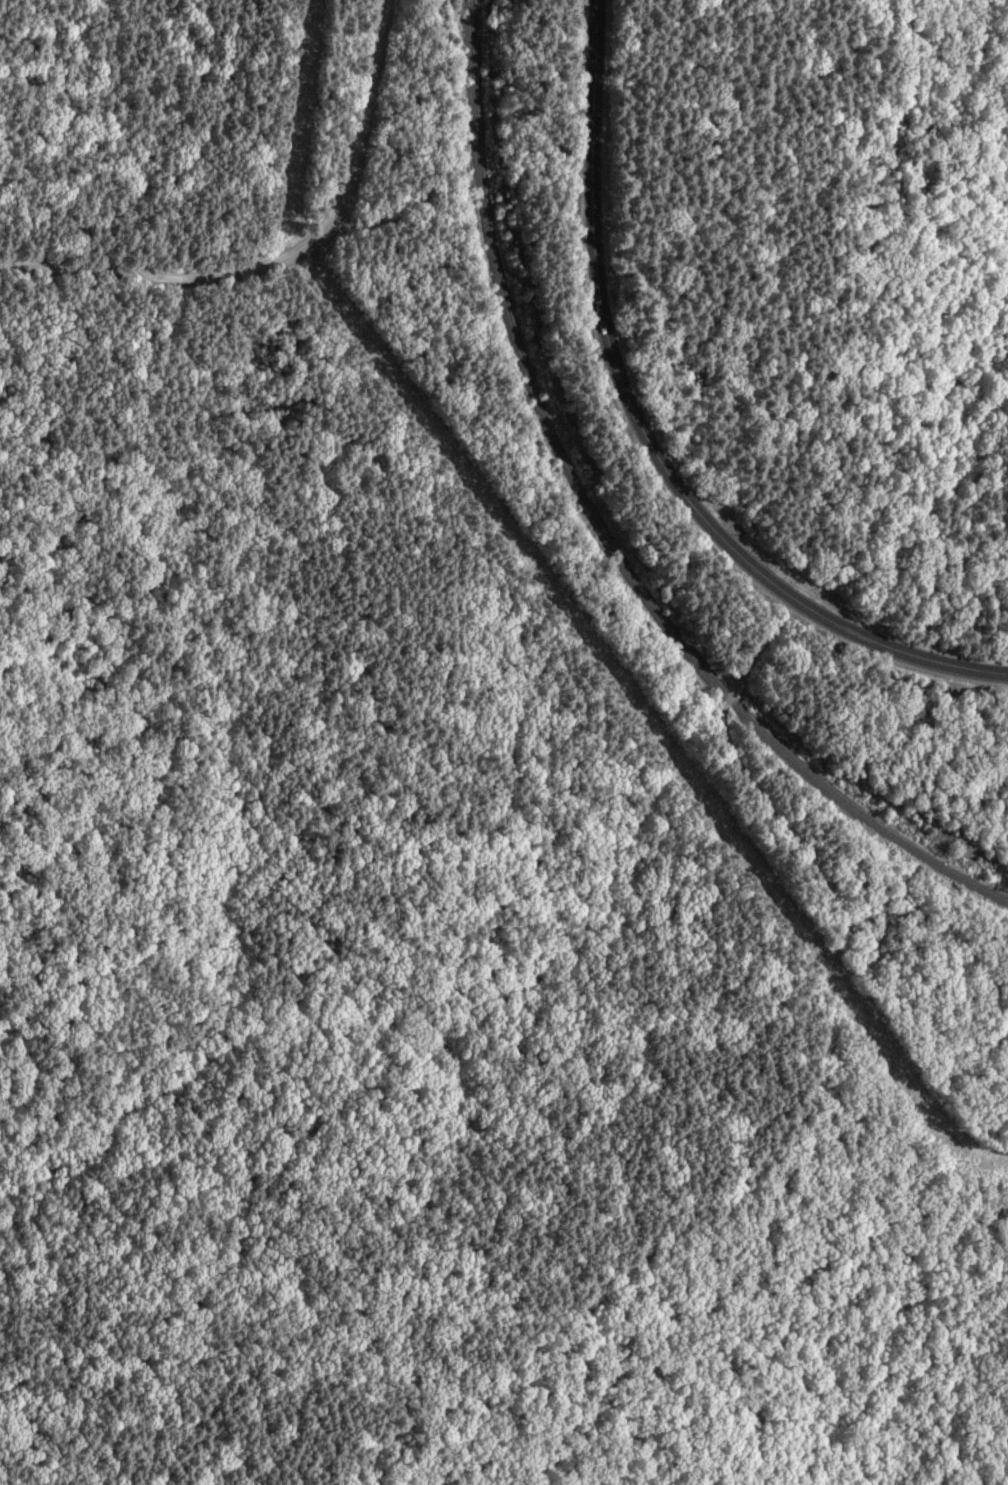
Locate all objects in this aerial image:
road: (287, 256)
road: (654, 435)
railway: (601, 530)
road: (776, 1099)

